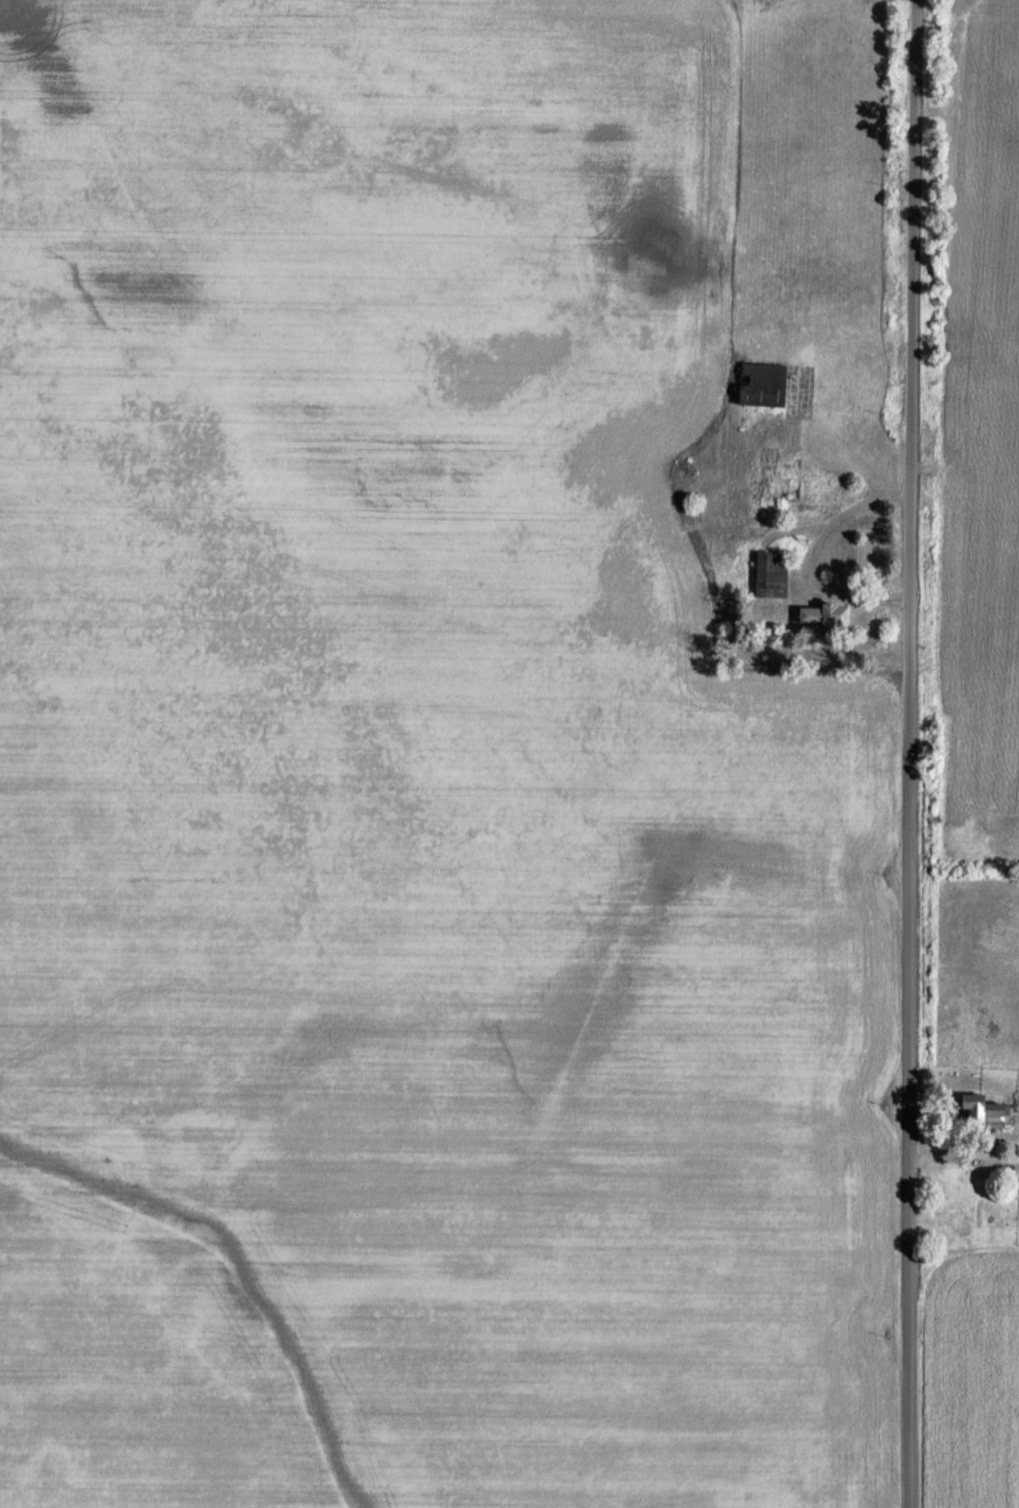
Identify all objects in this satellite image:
building: (756, 389)
road: (805, 567)
building: (768, 580)
building: (817, 620)
road: (913, 754)
building: (977, 1114)
road: (968, 1164)

